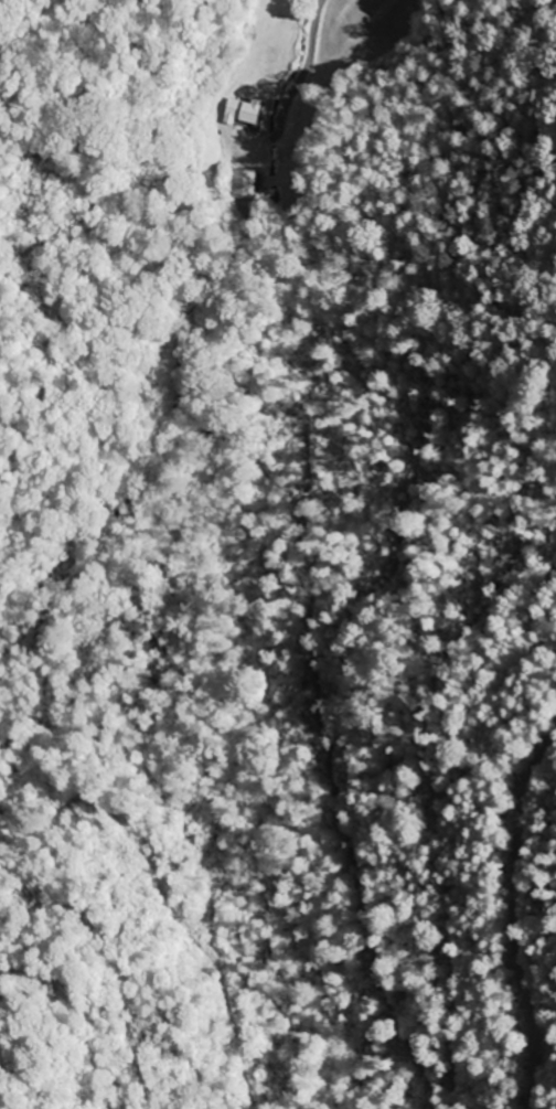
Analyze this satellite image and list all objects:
building: (240, 111)
building: (244, 184)

